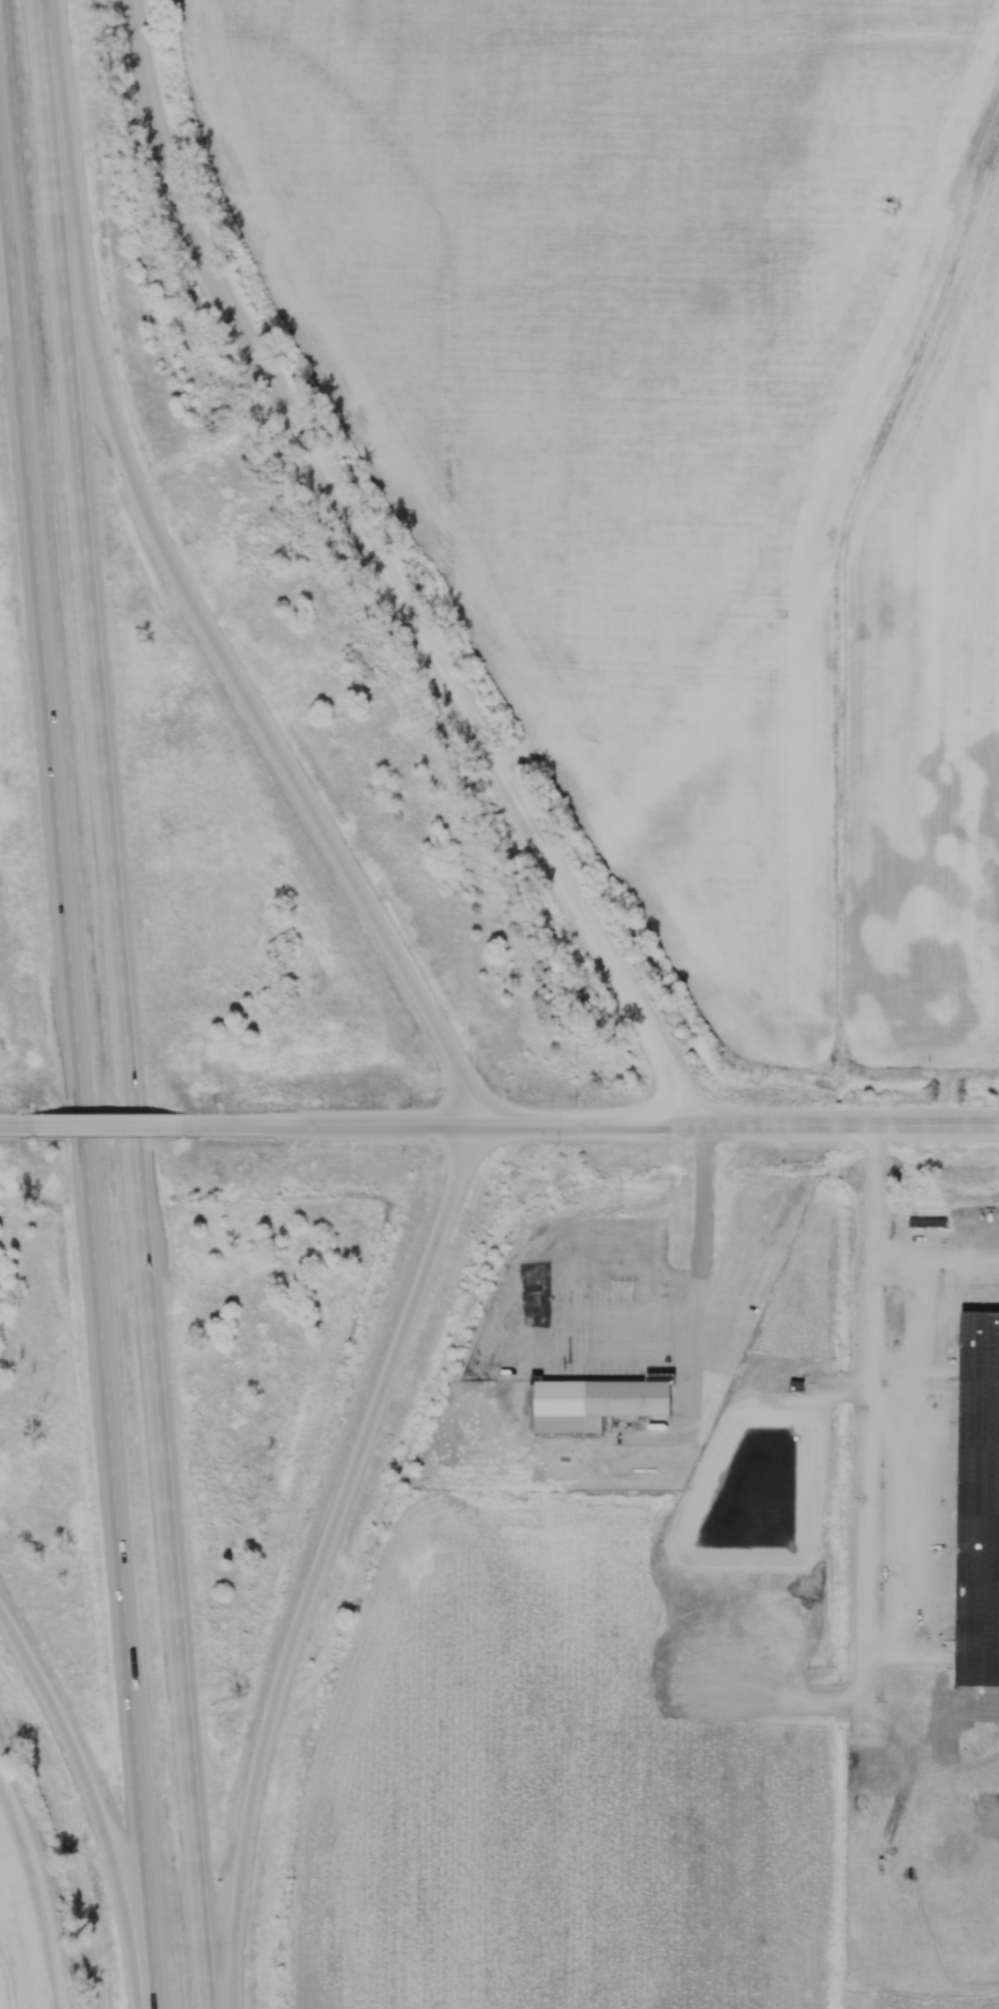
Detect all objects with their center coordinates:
road: (376, 573)
road: (178, 588)
road: (121, 1004)
road: (82, 1104)
road: (570, 1123)
road: (323, 1124)
road: (837, 1124)
road: (15, 1125)
road: (105, 1125)
road: (566, 1354)
building: (598, 1403)
road: (316, 1559)
road: (89, 1806)

